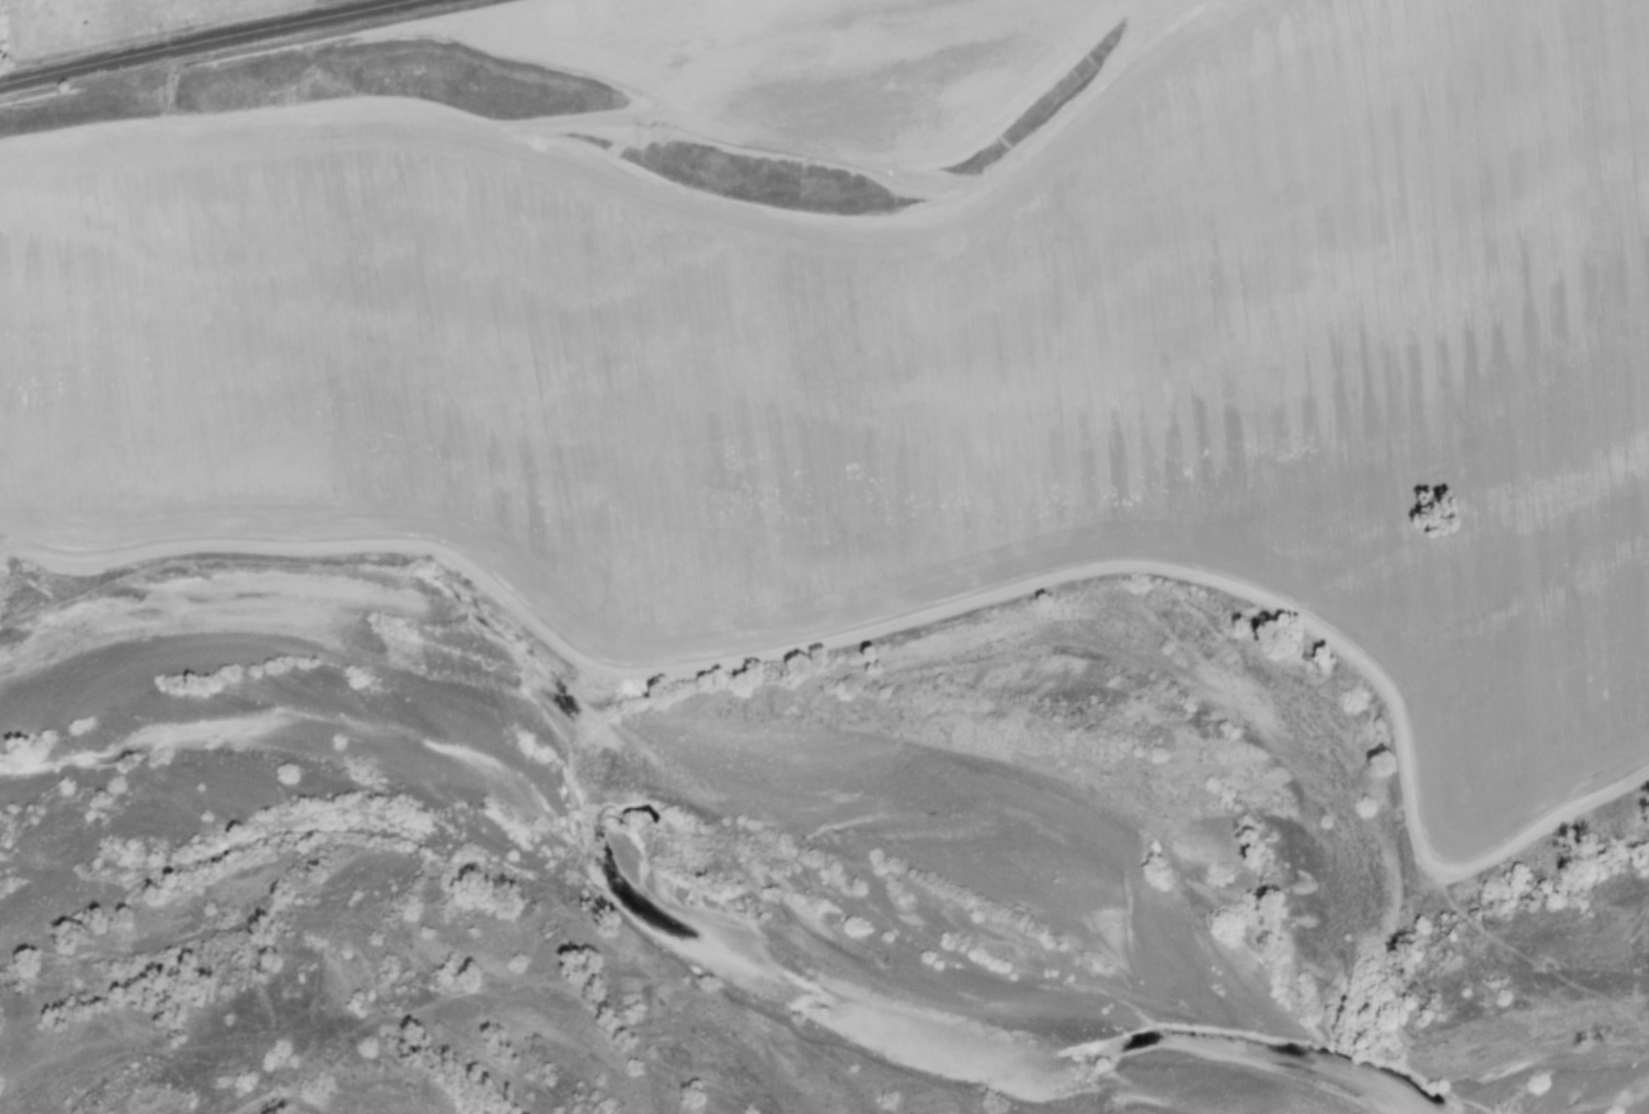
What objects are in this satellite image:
road: (199, 39)
river: (695, 806)
river: (1638, 1111)

